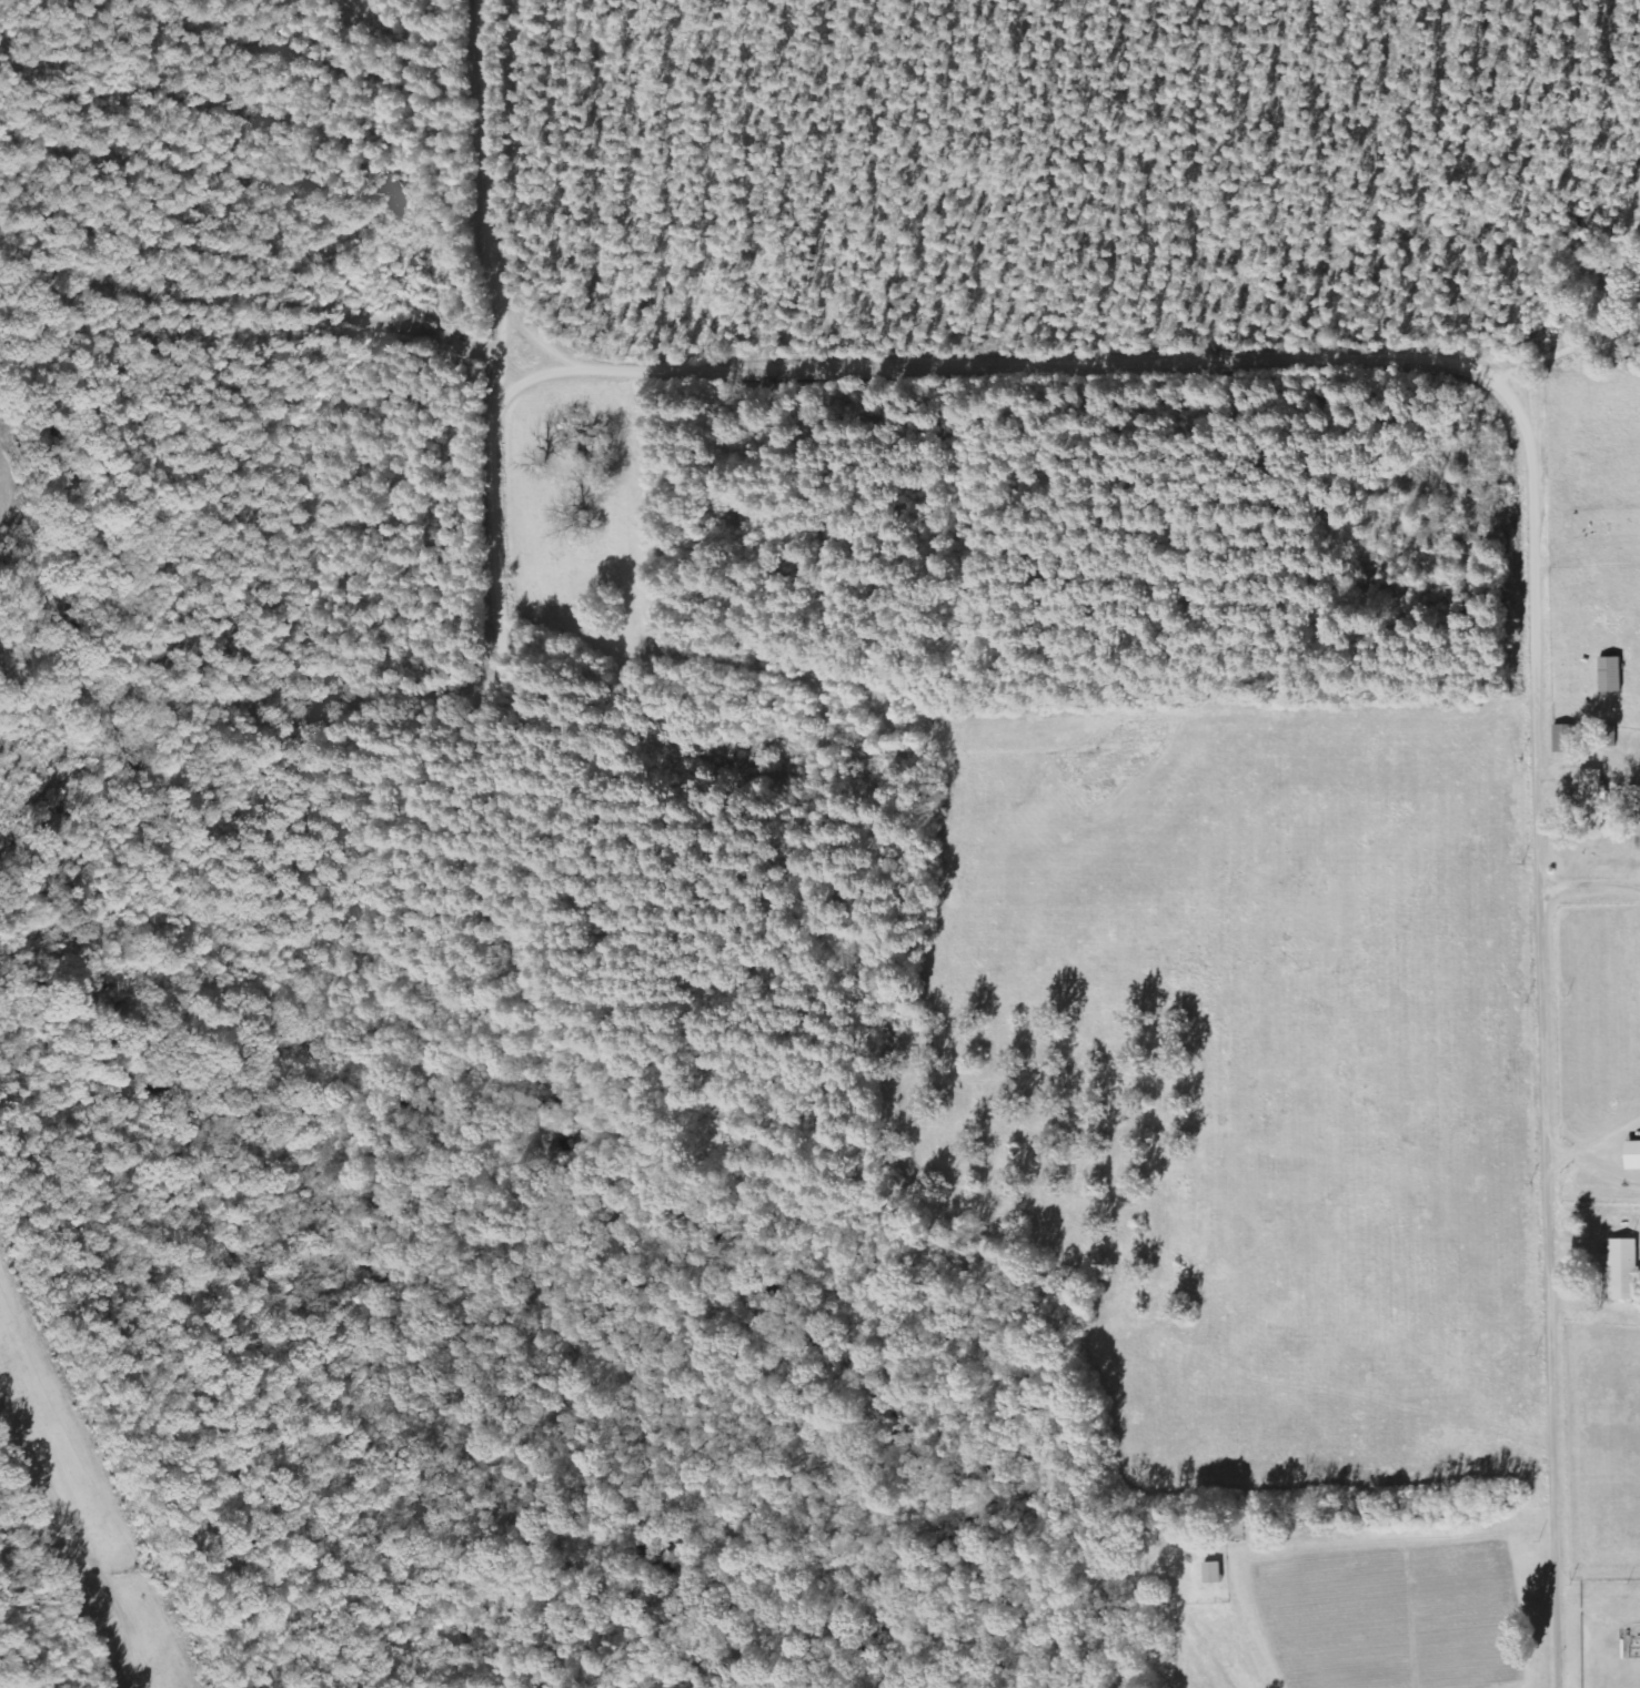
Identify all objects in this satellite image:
road: (1081, 368)
road: (507, 593)
building: (1564, 738)
building: (1592, 802)
road: (1551, 1038)
building: (1633, 1155)
building: (1623, 1270)
building: (1213, 1573)

